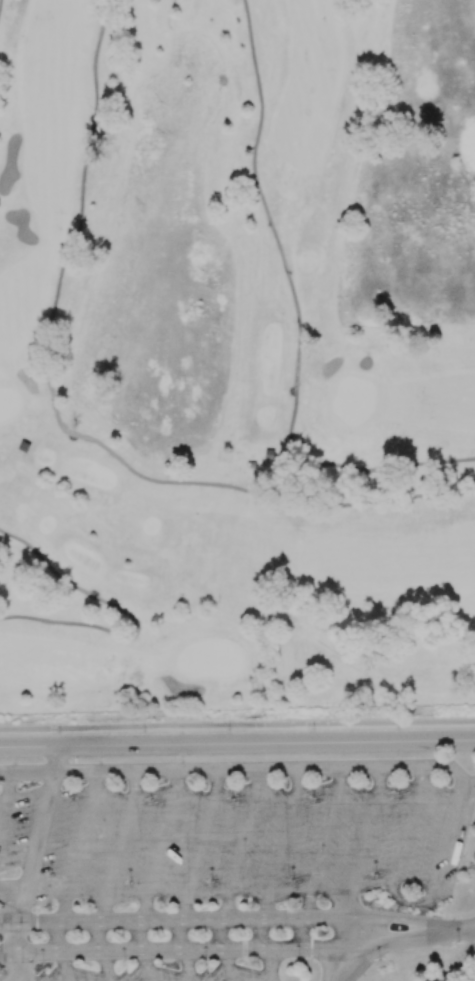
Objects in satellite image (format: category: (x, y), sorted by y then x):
road: (0, 3)
road: (299, 315)
park: (236, 354)
road: (61, 425)
building: (24, 446)
road: (132, 618)
road: (363, 673)
road: (237, 724)
street lamp: (314, 727)
street lamp: (399, 727)
street lamp: (229, 729)
street lamp: (144, 730)
street lamp: (61, 732)
road: (237, 742)
road: (57, 759)
road: (253, 770)
road: (28, 773)
road: (6, 799)
road: (41, 832)
parking lot: (228, 841)
road: (324, 843)
road: (363, 843)
road: (282, 844)
road: (201, 845)
road: (243, 845)
road: (161, 846)
road: (79, 847)
road: (120, 847)
street lamp: (457, 884)
road: (13, 887)
street lamp: (362, 898)
road: (417, 902)
road: (11, 908)
road: (23, 908)
road: (405, 920)
road: (174, 921)
road: (467, 929)
street lamp: (329, 932)
road: (182, 935)
road: (224, 935)
road: (264, 935)
road: (305, 935)
road: (143, 936)
road: (61, 937)
road: (101, 937)
road: (396, 943)
street lamp: (457, 943)
road: (345, 949)
road: (155, 950)
road: (350, 950)
road: (19, 952)
road: (462, 957)
street lamp: (380, 961)
road: (325, 962)
road: (11, 964)
parking lot: (147, 965)
road: (147, 965)
road: (187, 965)
road: (229, 965)
road: (65, 966)
road: (105, 966)
road: (269, 966)
park: (471, 977)

